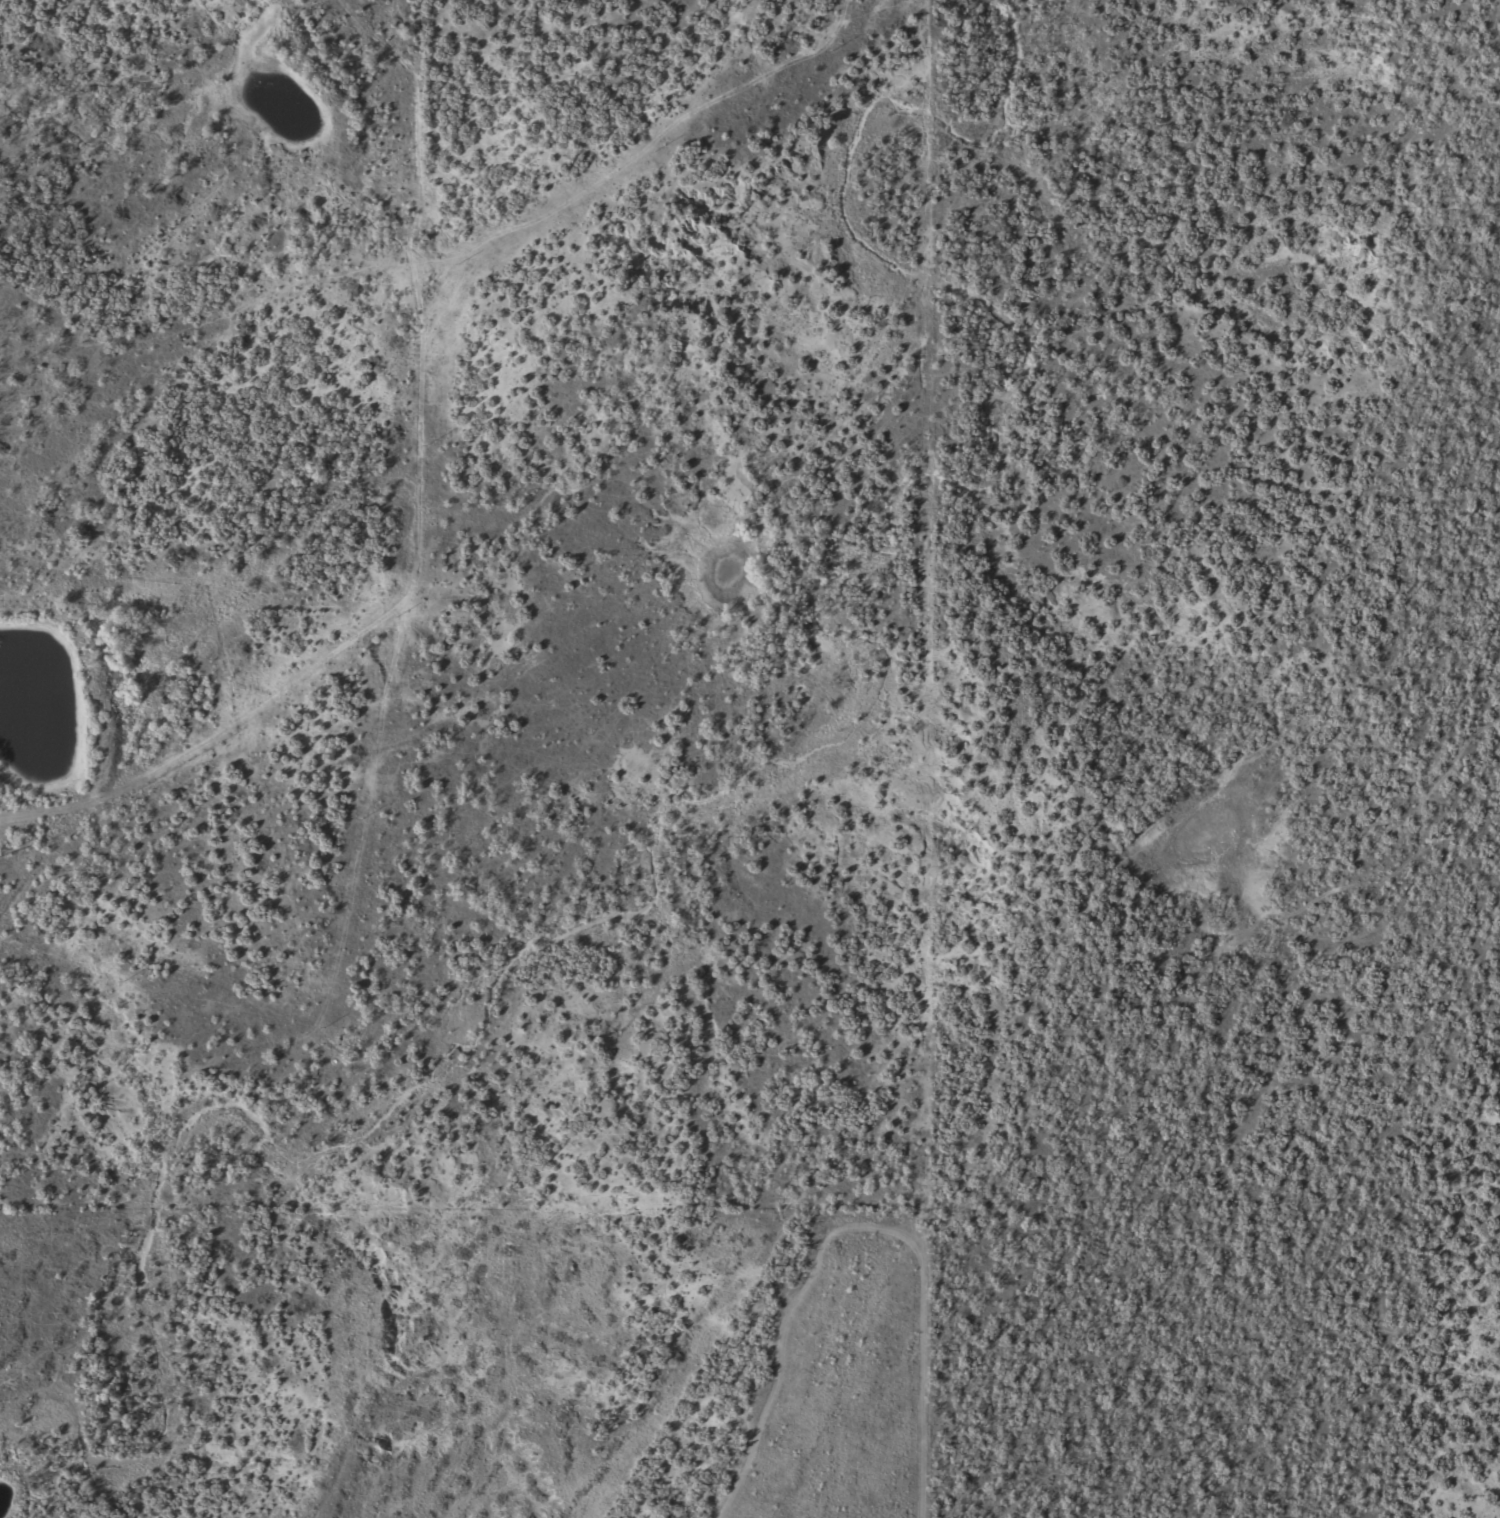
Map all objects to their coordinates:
road: (982, 41)

